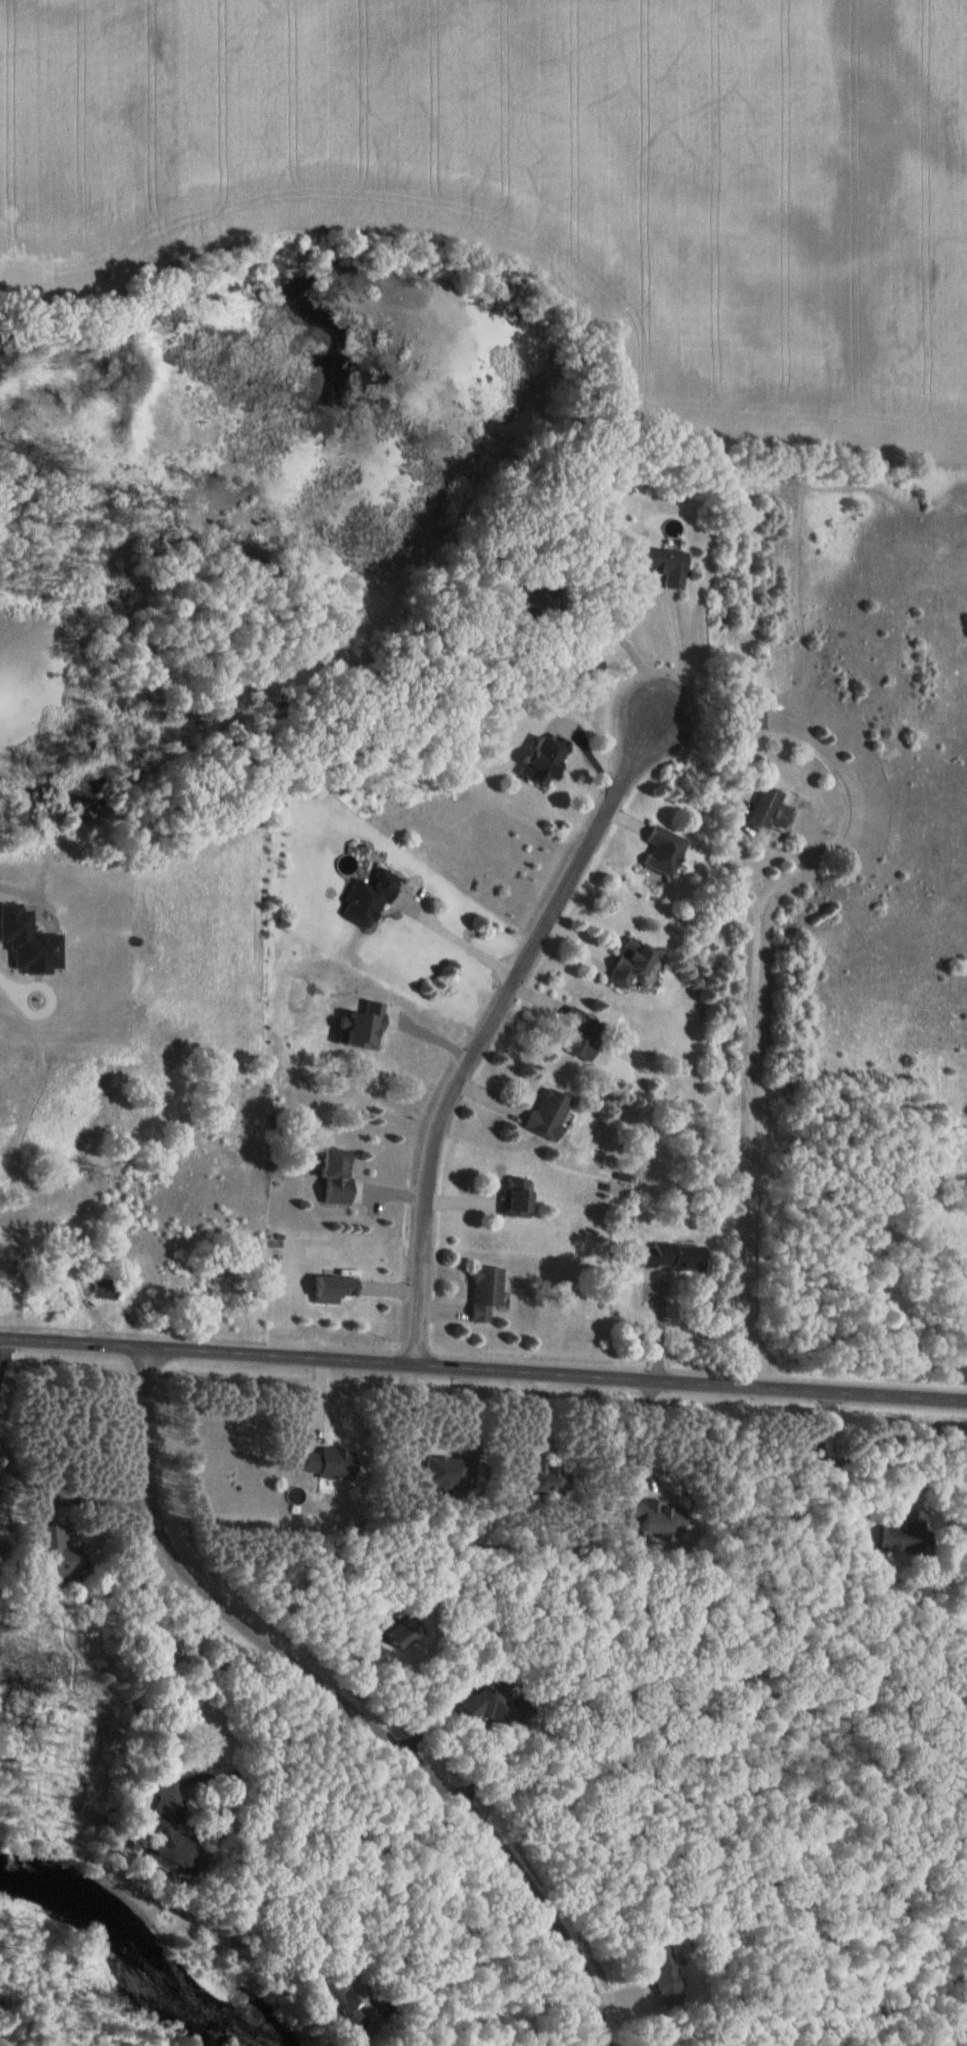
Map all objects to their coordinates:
building: (658, 565)
building: (751, 714)
building: (533, 760)
building: (759, 811)
building: (660, 849)
building: (364, 898)
road: (761, 918)
road: (462, 936)
building: (625, 963)
road: (501, 1005)
building: (577, 1034)
road: (433, 1036)
building: (544, 1114)
building: (330, 1175)
building: (510, 1197)
building: (669, 1257)
building: (330, 1287)
building: (100, 1289)
building: (481, 1292)
road: (77, 1339)
road: (4, 1354)
road: (560, 1370)
road: (646, 1433)
building: (322, 1462)
building: (439, 1473)
building: (540, 1476)
building: (649, 1517)
building: (897, 1535)
building: (52, 1553)
road: (342, 1703)
building: (485, 1705)
building: (159, 1823)
river: (133, 1946)
building: (658, 1969)
building: (331, 2005)

